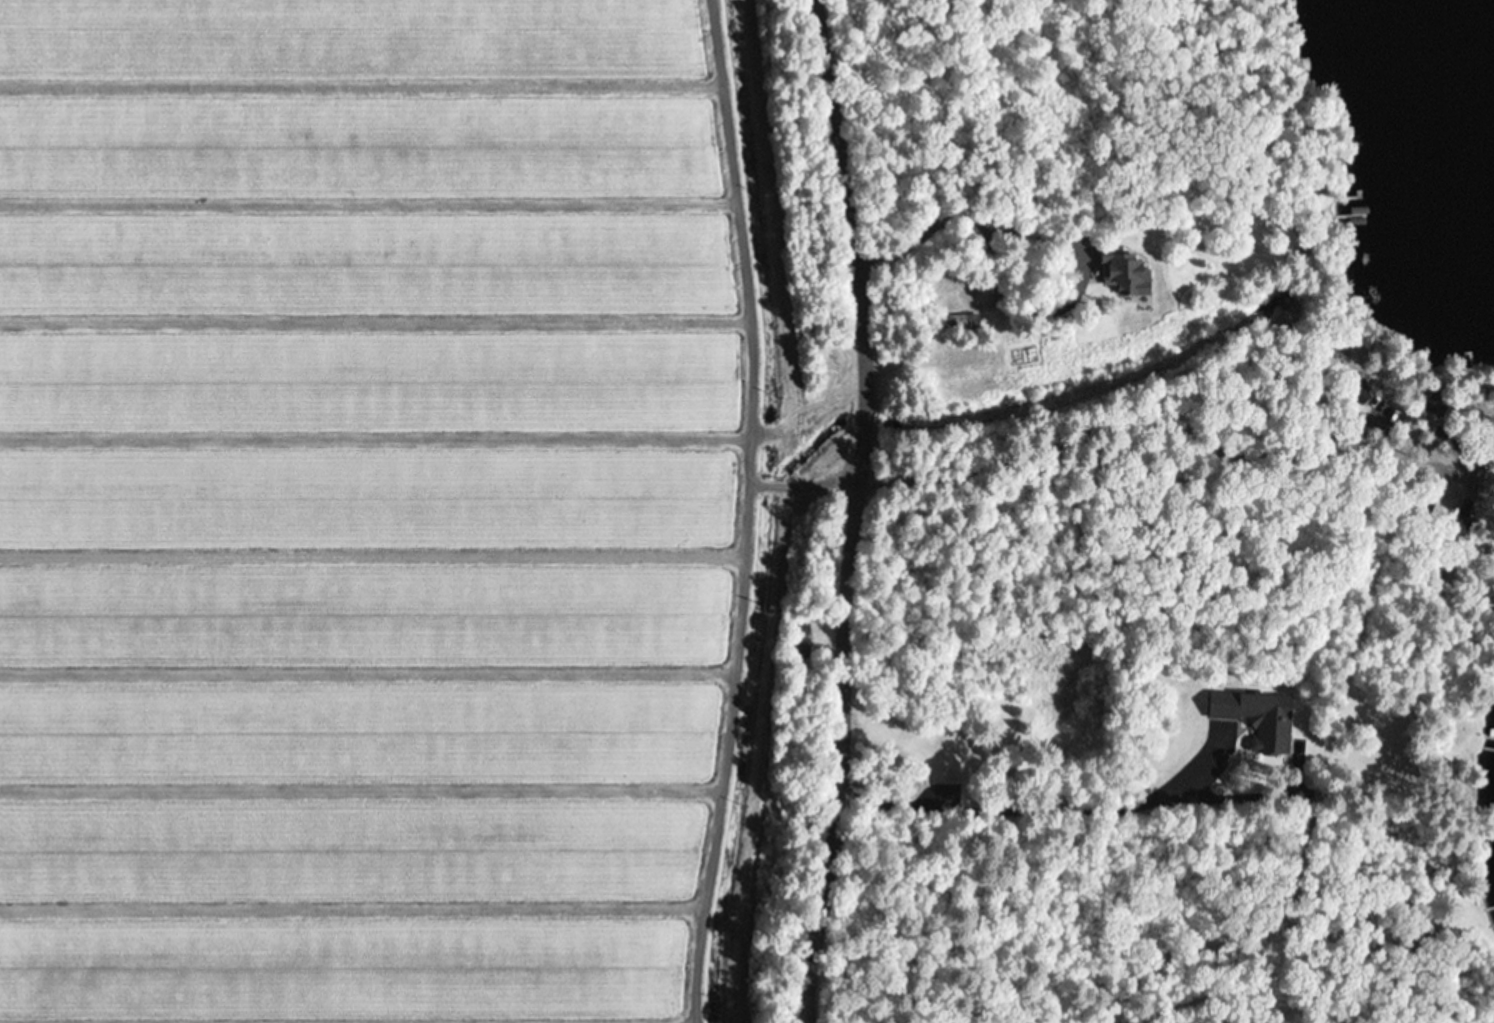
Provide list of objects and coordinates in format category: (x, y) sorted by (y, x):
building: (1122, 271)
building: (960, 322)
building: (1358, 389)
road: (1167, 410)
crop: (390, 509)
road: (851, 511)
building: (1461, 528)
building: (801, 647)
building: (1258, 717)
building: (970, 774)

